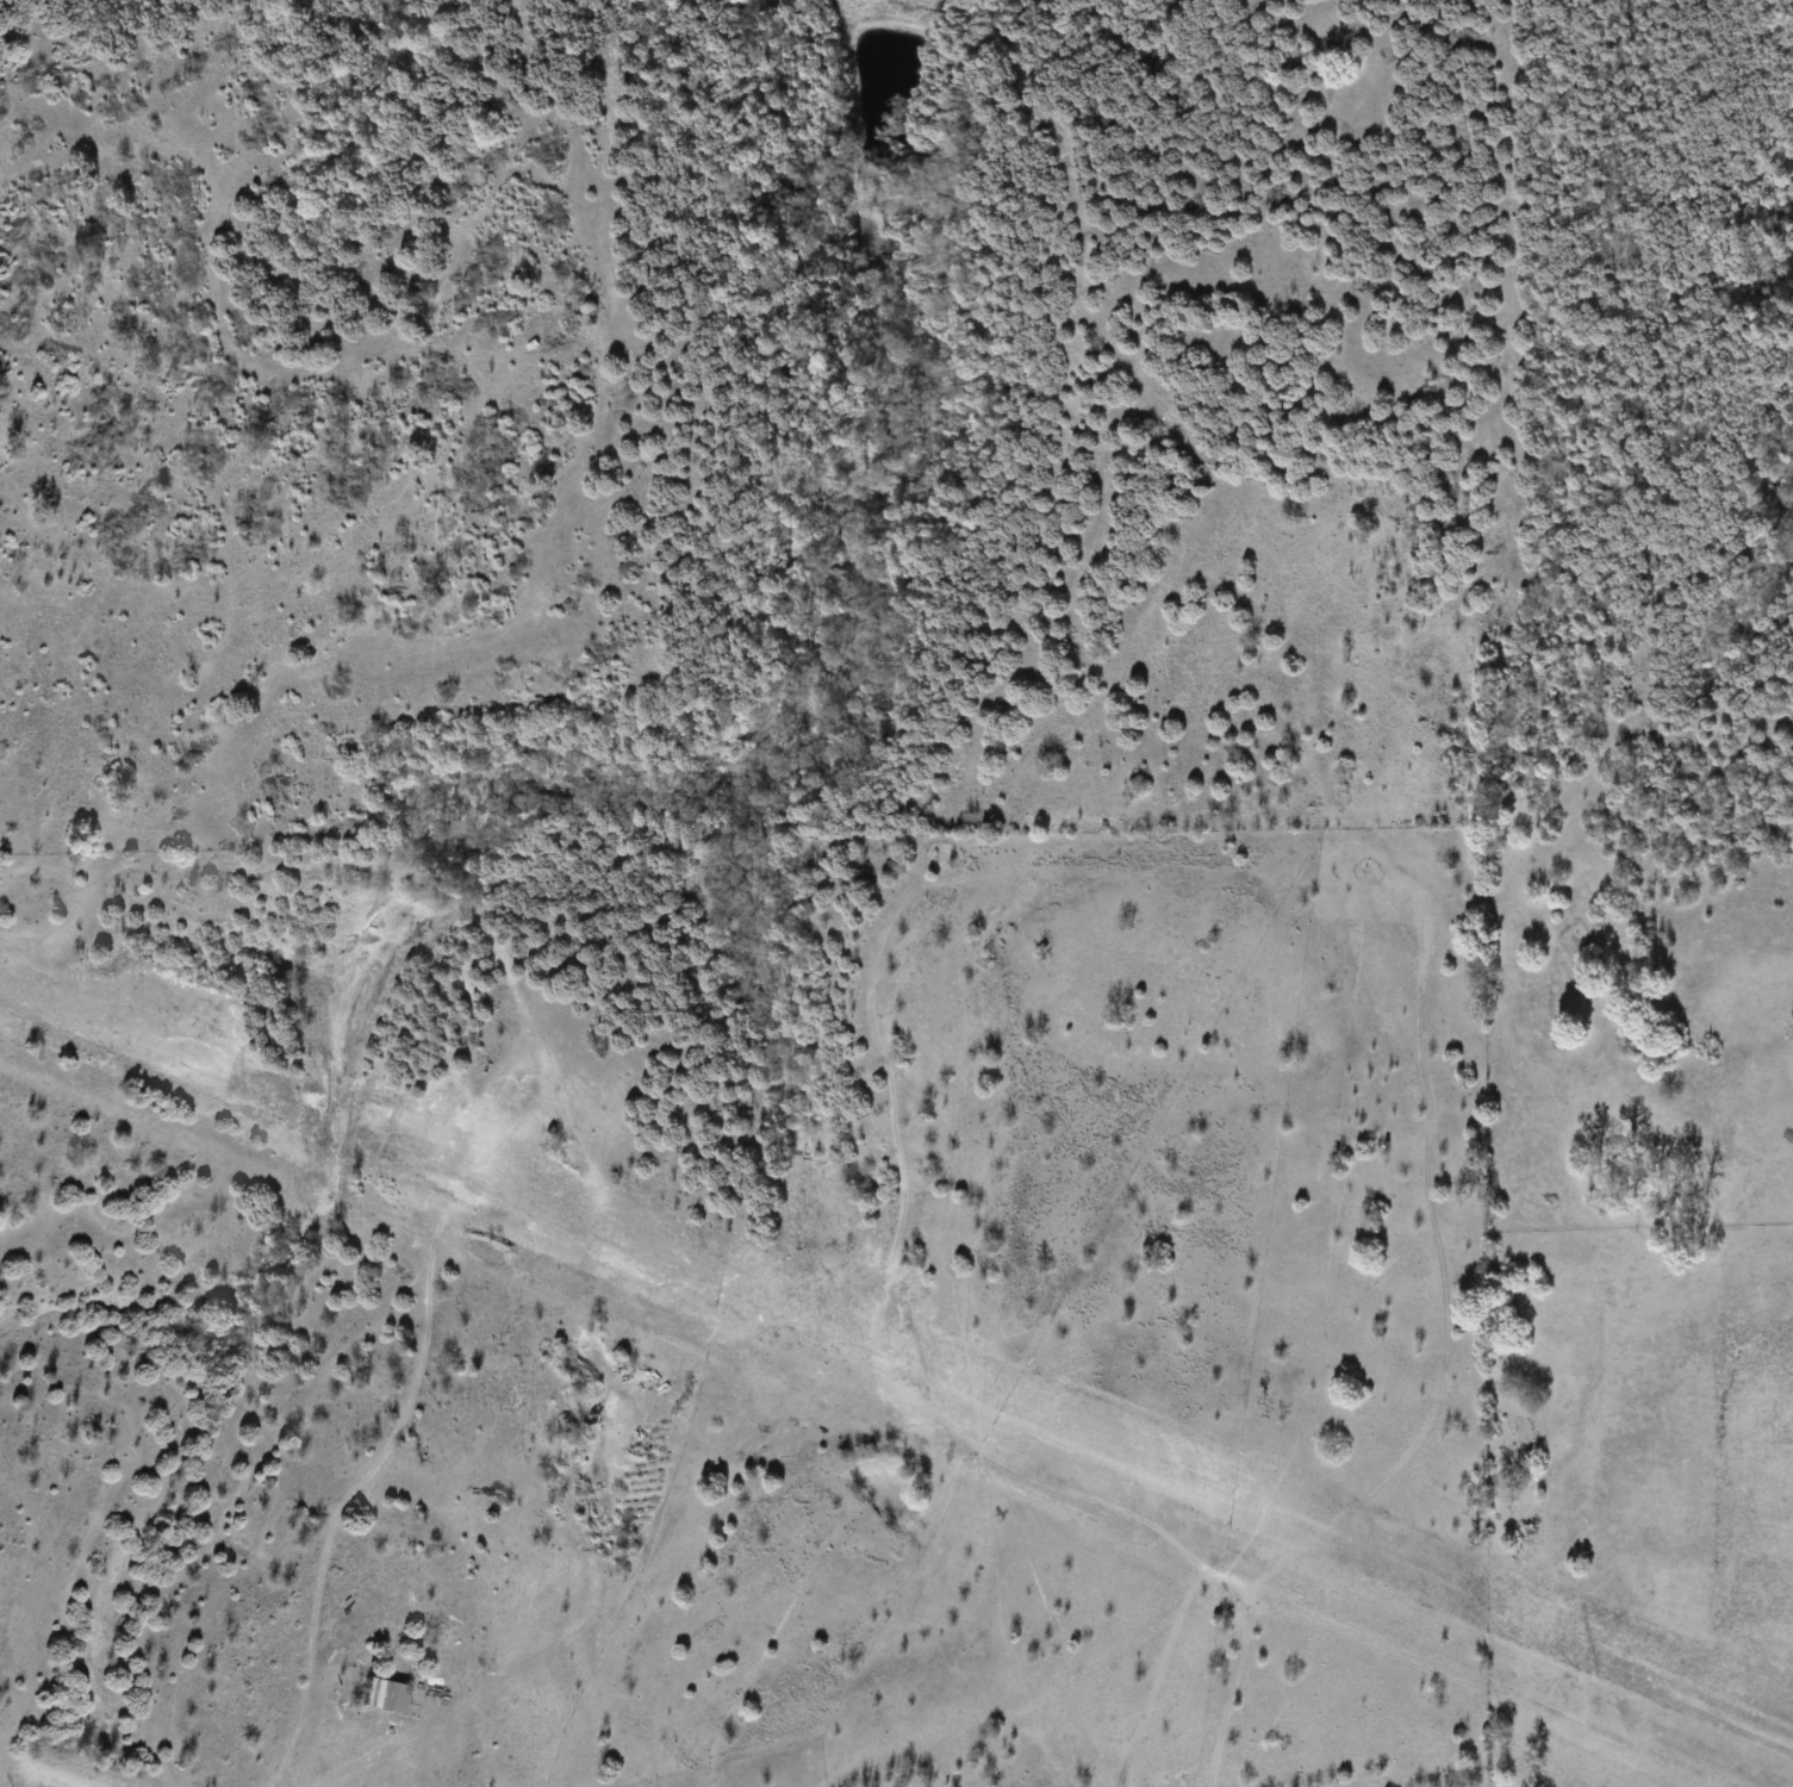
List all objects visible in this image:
building: (385, 1694)

